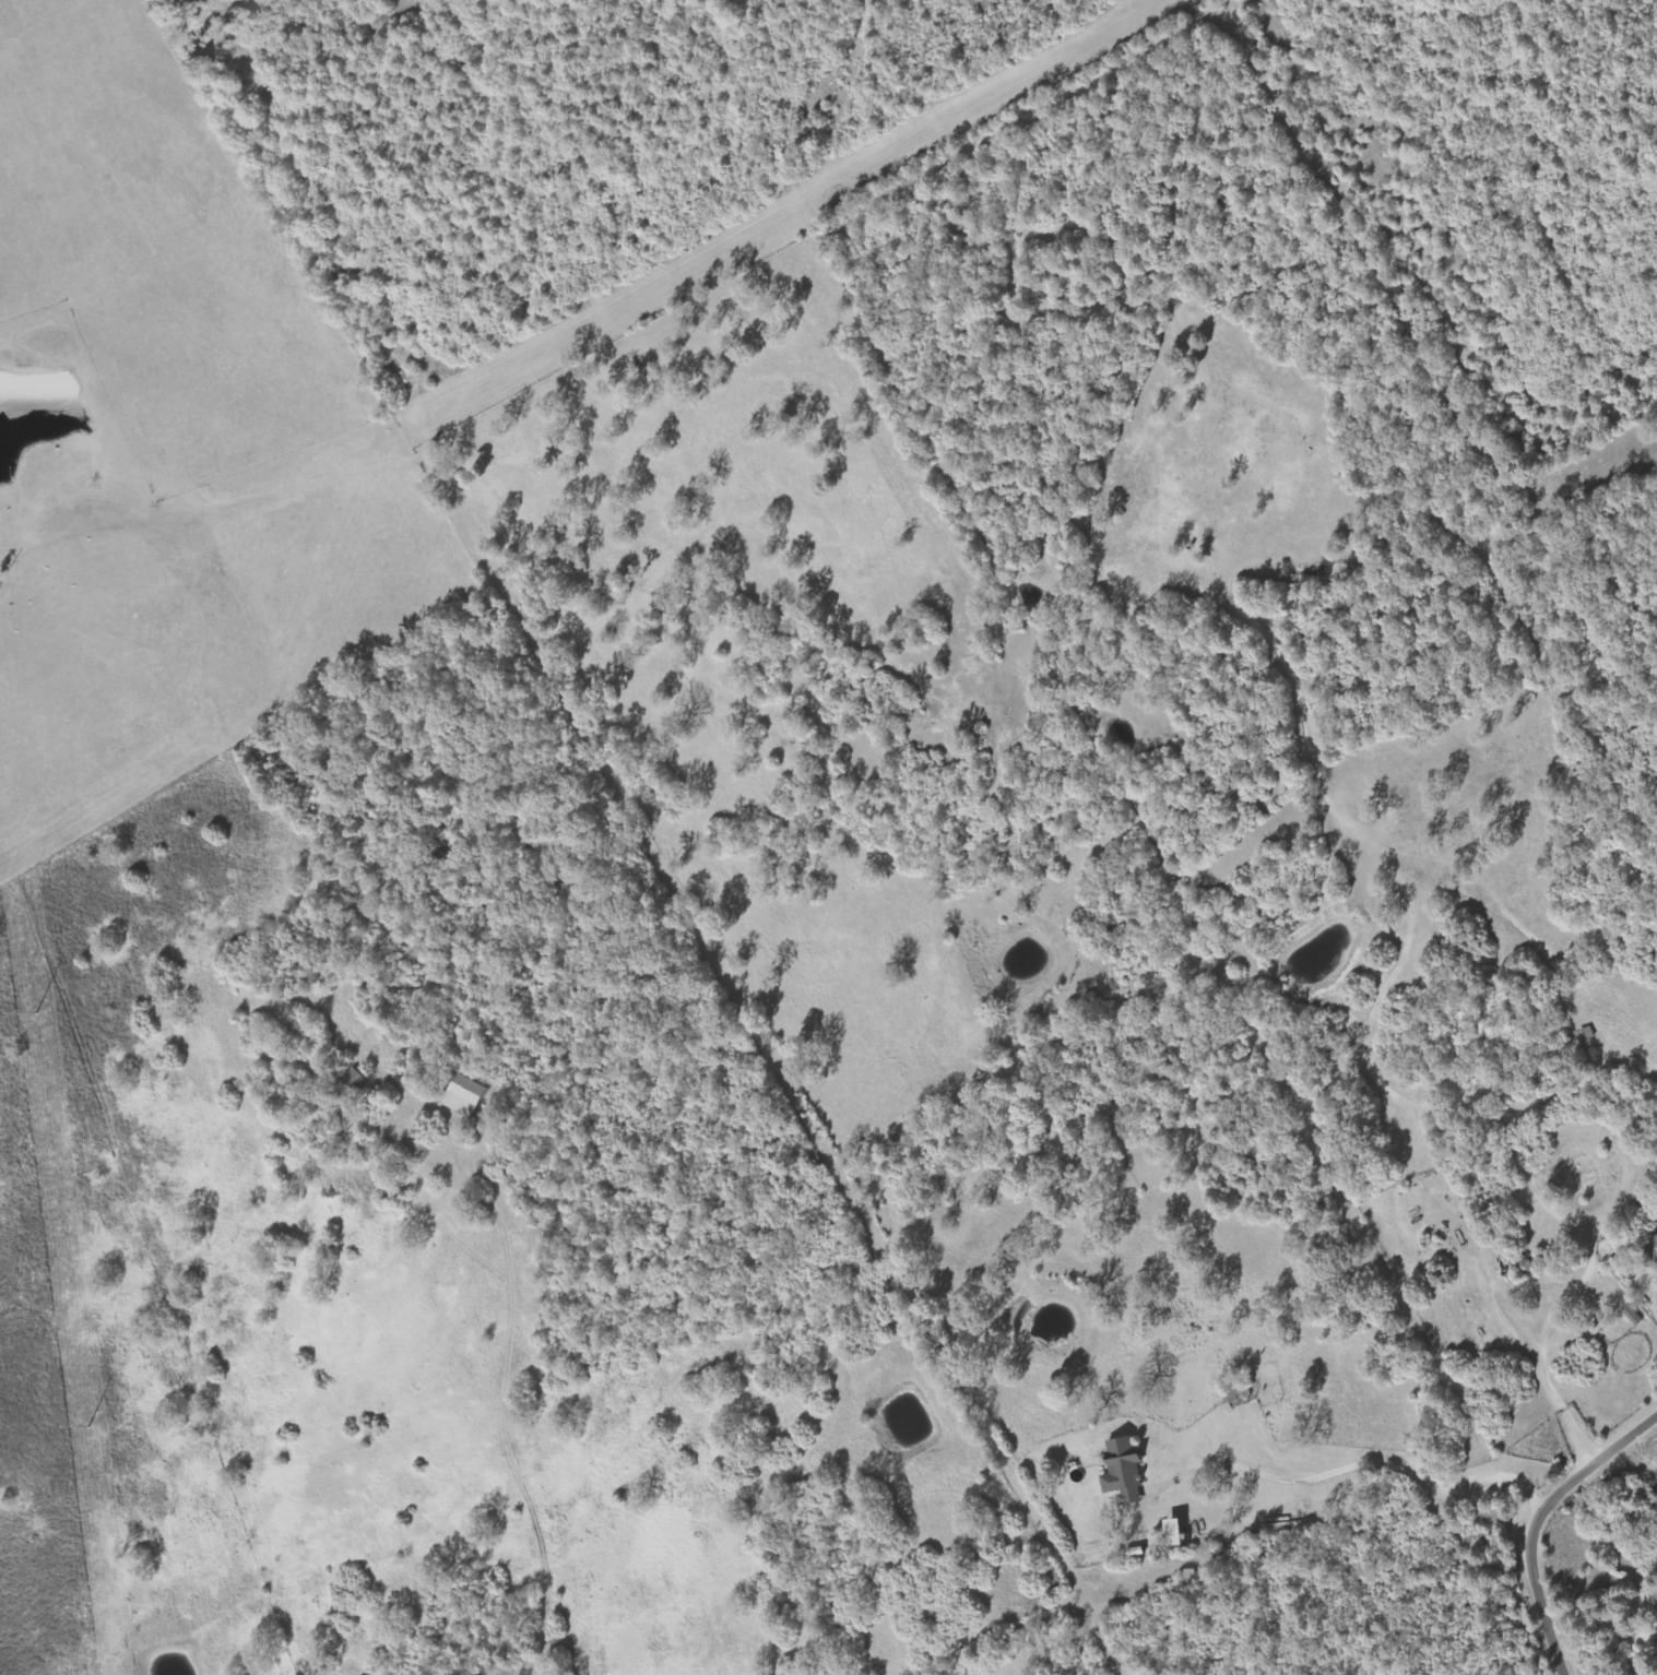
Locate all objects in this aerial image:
power tower: (34, 1012)
building: (1586, 1035)
building: (355, 1083)
building: (465, 1096)
building: (1653, 1248)
building: (1634, 1316)
power tower: (86, 1426)
building: (1125, 1472)
road: (1562, 1531)
building: (1176, 1533)

